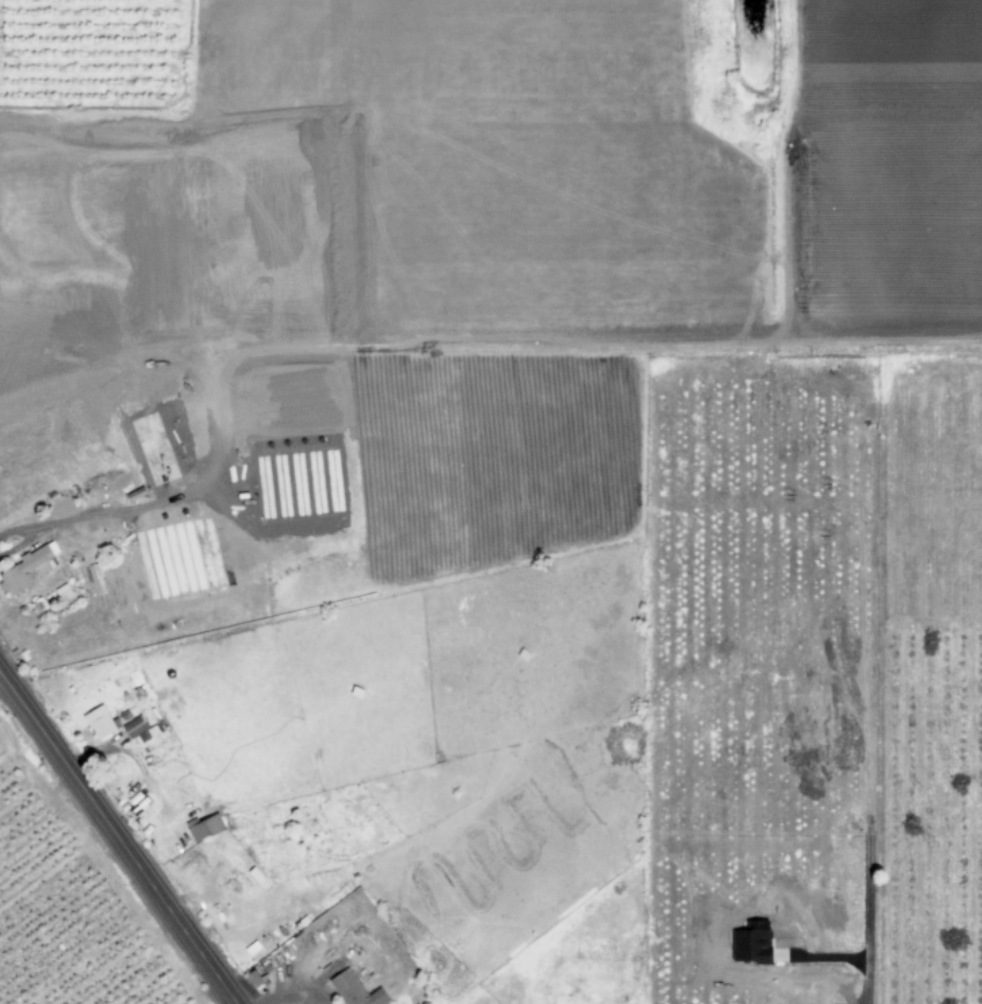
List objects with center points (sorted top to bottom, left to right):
building: (135, 417)
building: (191, 425)
building: (136, 483)
building: (223, 510)
building: (28, 569)
building: (118, 577)
building: (63, 593)
building: (100, 722)
building: (140, 730)
building: (204, 827)
road: (118, 837)
building: (258, 976)
building: (355, 990)

